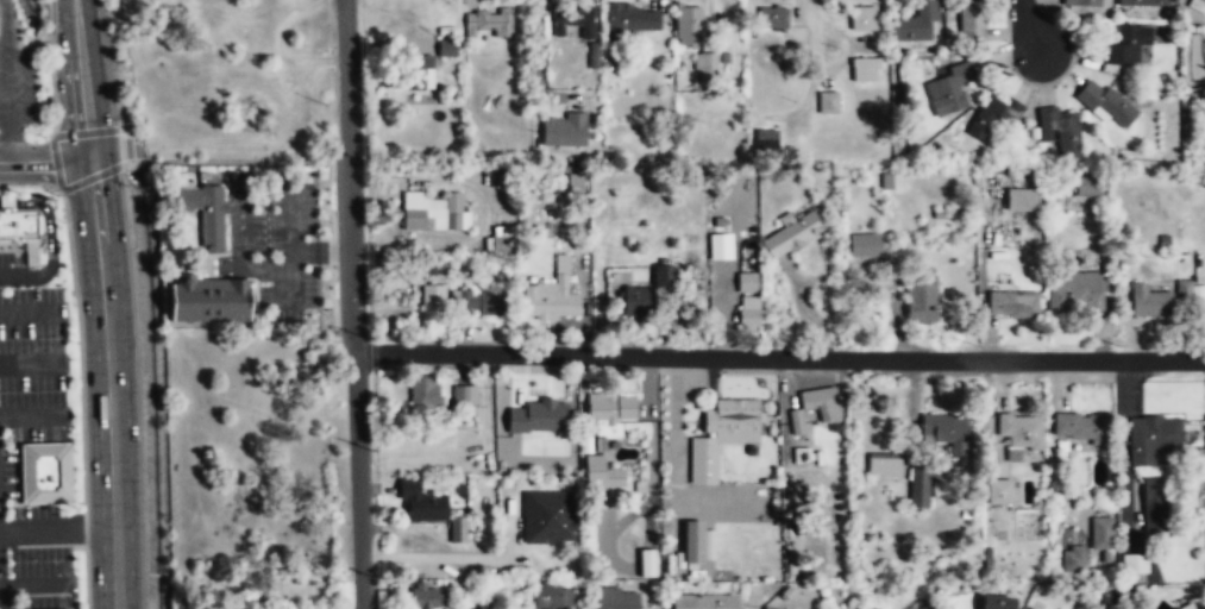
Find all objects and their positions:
building: (1201, 1)
building: (1081, 2)
building: (1141, 2)
building: (772, 18)
building: (633, 19)
building: (862, 19)
building: (971, 20)
building: (489, 21)
building: (572, 24)
building: (916, 24)
building: (689, 26)
road: (1029, 27)
building: (1126, 44)
road: (540, 50)
building: (427, 61)
road: (821, 64)
road: (50, 68)
building: (707, 68)
building: (865, 69)
road: (2, 80)
parking lot: (15, 88)
building: (950, 89)
building: (828, 101)
building: (1106, 102)
road: (1, 113)
building: (993, 117)
building: (1060, 130)
road: (88, 132)
building: (563, 132)
building: (766, 140)
road: (127, 145)
road: (45, 158)
traffic signals: (92, 158)
road: (234, 161)
road: (131, 164)
road: (94, 175)
building: (496, 177)
road: (252, 183)
road: (30, 184)
building: (1088, 187)
building: (1021, 199)
building: (433, 212)
building: (205, 213)
street lamp: (62, 221)
building: (17, 222)
building: (795, 234)
building: (500, 240)
road: (49, 241)
building: (720, 246)
building: (865, 246)
building: (663, 275)
building: (747, 283)
road: (289, 287)
building: (1075, 290)
building: (1190, 291)
building: (553, 296)
building: (921, 296)
building: (208, 300)
building: (432, 300)
building: (638, 301)
building: (1148, 302)
road: (106, 303)
building: (479, 303)
road: (351, 304)
building: (1012, 304)
road: (30, 313)
building: (748, 313)
street lamp: (366, 335)
street lamp: (413, 339)
street lamp: (75, 343)
street lamp: (1118, 345)
road: (79, 347)
road: (778, 357)
road: (31, 364)
building: (423, 393)
building: (465, 394)
building: (822, 408)
building: (610, 409)
building: (539, 416)
road: (32, 417)
building: (796, 421)
building: (1080, 428)
building: (944, 433)
building: (1018, 433)
building: (721, 437)
building: (1151, 439)
building: (883, 465)
road: (18, 466)
building: (45, 471)
building: (601, 475)
building: (998, 492)
building: (918, 495)
street lamp: (80, 502)
building: (421, 504)
building: (1155, 507)
building: (548, 517)
road: (84, 527)
road: (57, 528)
building: (460, 532)
building: (1100, 535)
building: (693, 544)
road: (76, 547)
road: (439, 558)
building: (1072, 560)
building: (647, 561)
building: (1134, 564)
road: (69, 575)
street lamp: (372, 575)
road: (84, 578)
road: (31, 585)
building: (422, 596)
building: (553, 596)
building: (615, 599)
building: (704, 602)
building: (997, 602)
road: (74, 603)
road: (1, 604)
building: (923, 607)
building: (1187, 607)
building: (760, 608)
building: (1029, 608)

